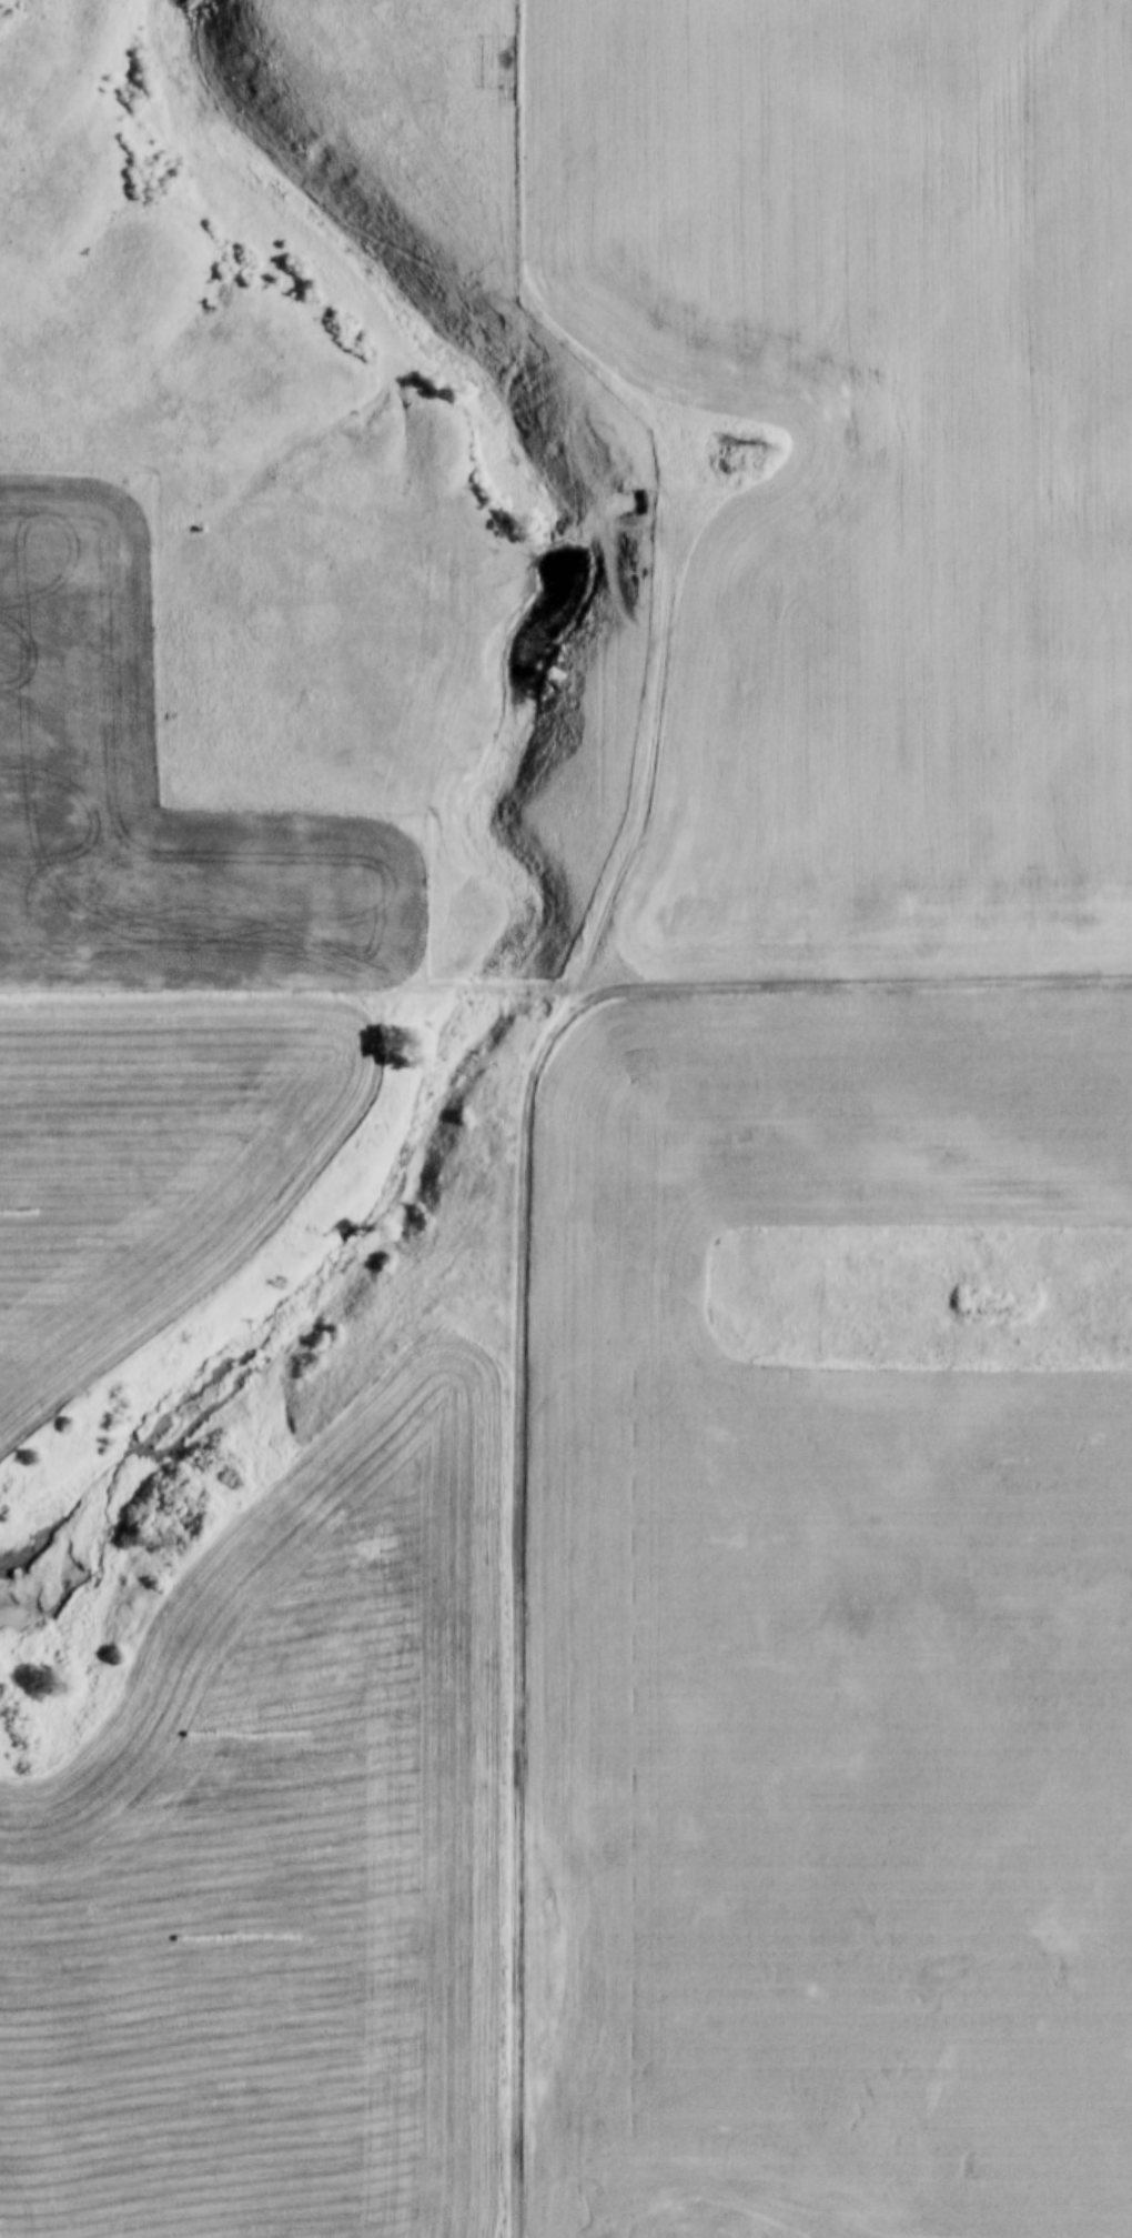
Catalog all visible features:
road: (512, 1332)

